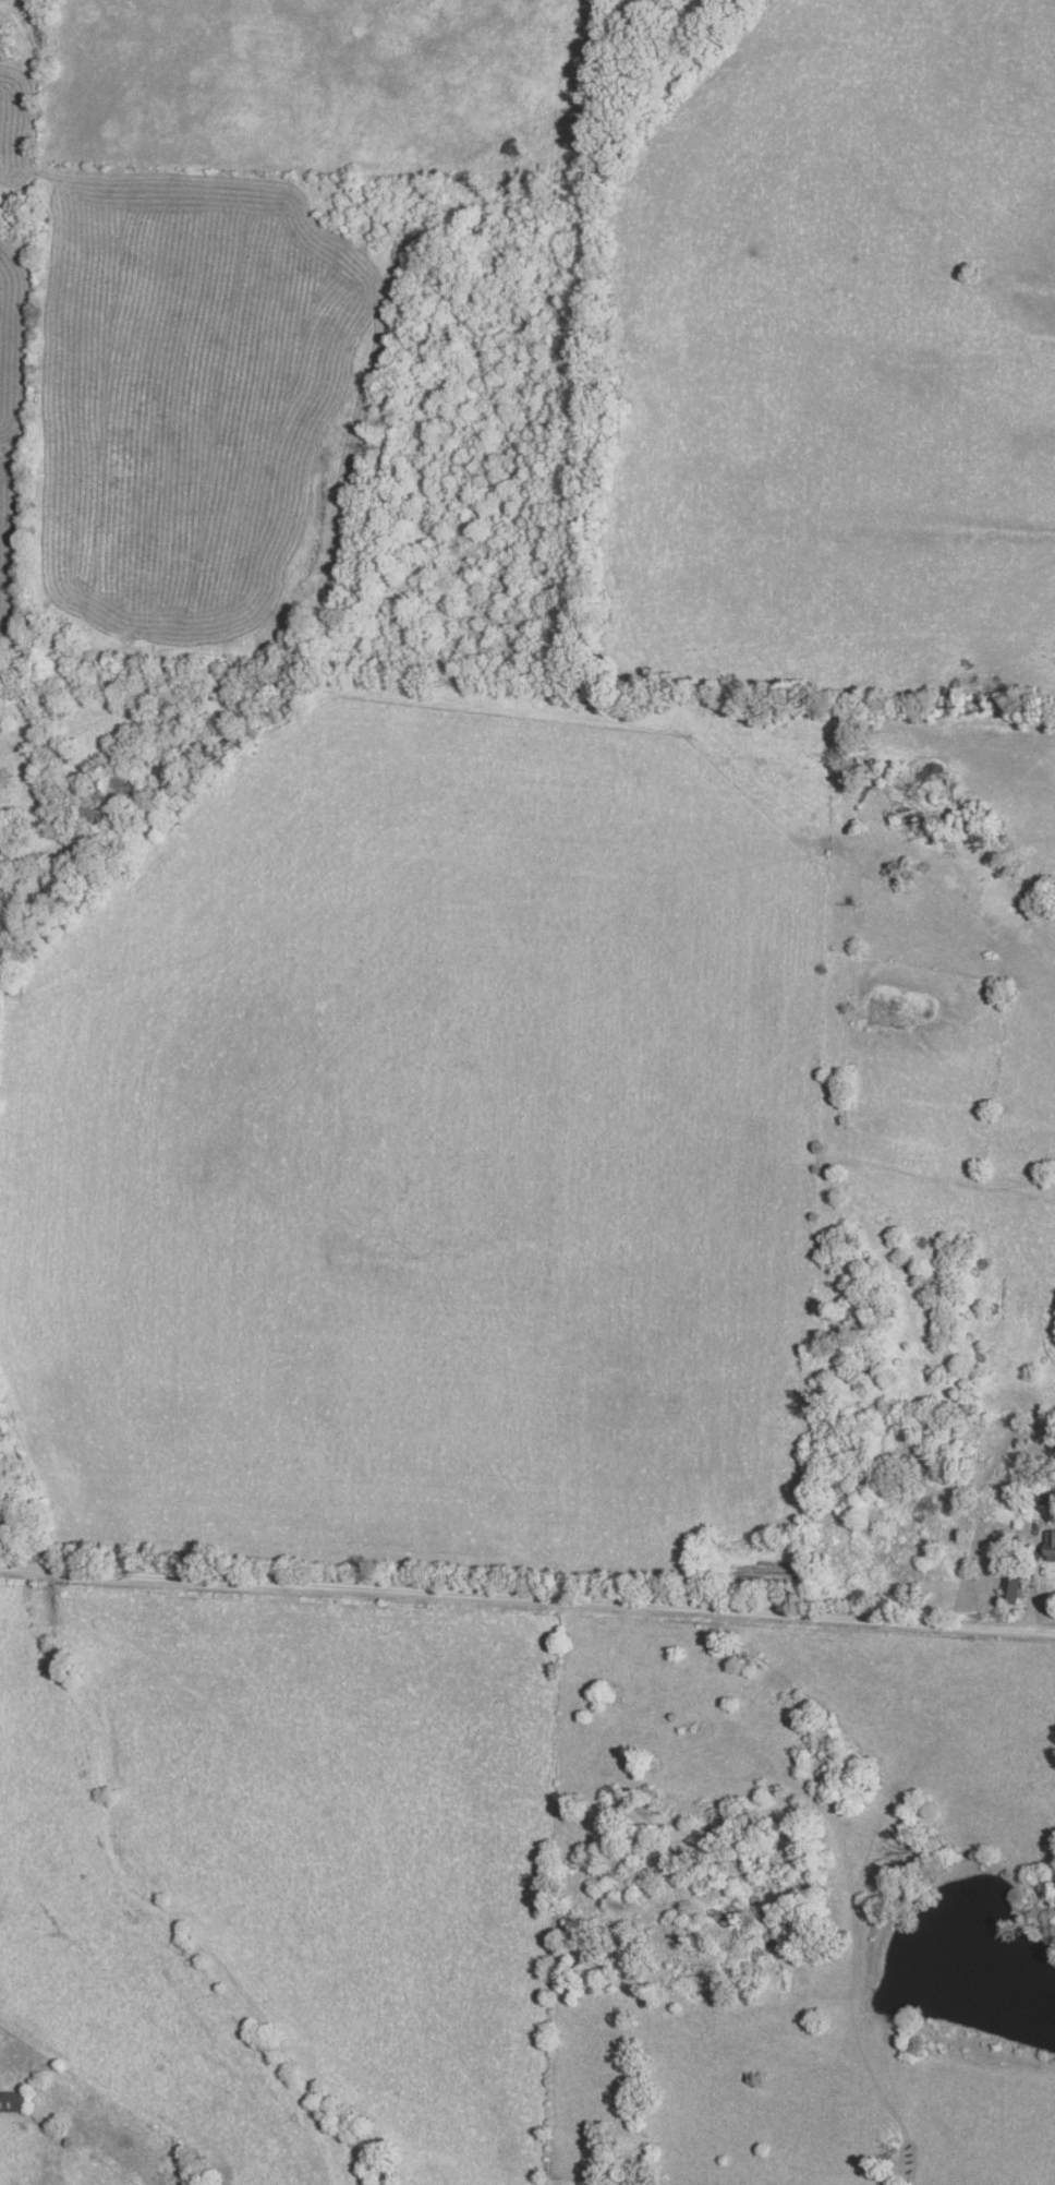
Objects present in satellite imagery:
building: (1053, 1546)
road: (1031, 1563)
building: (1014, 1586)
road: (527, 1593)

